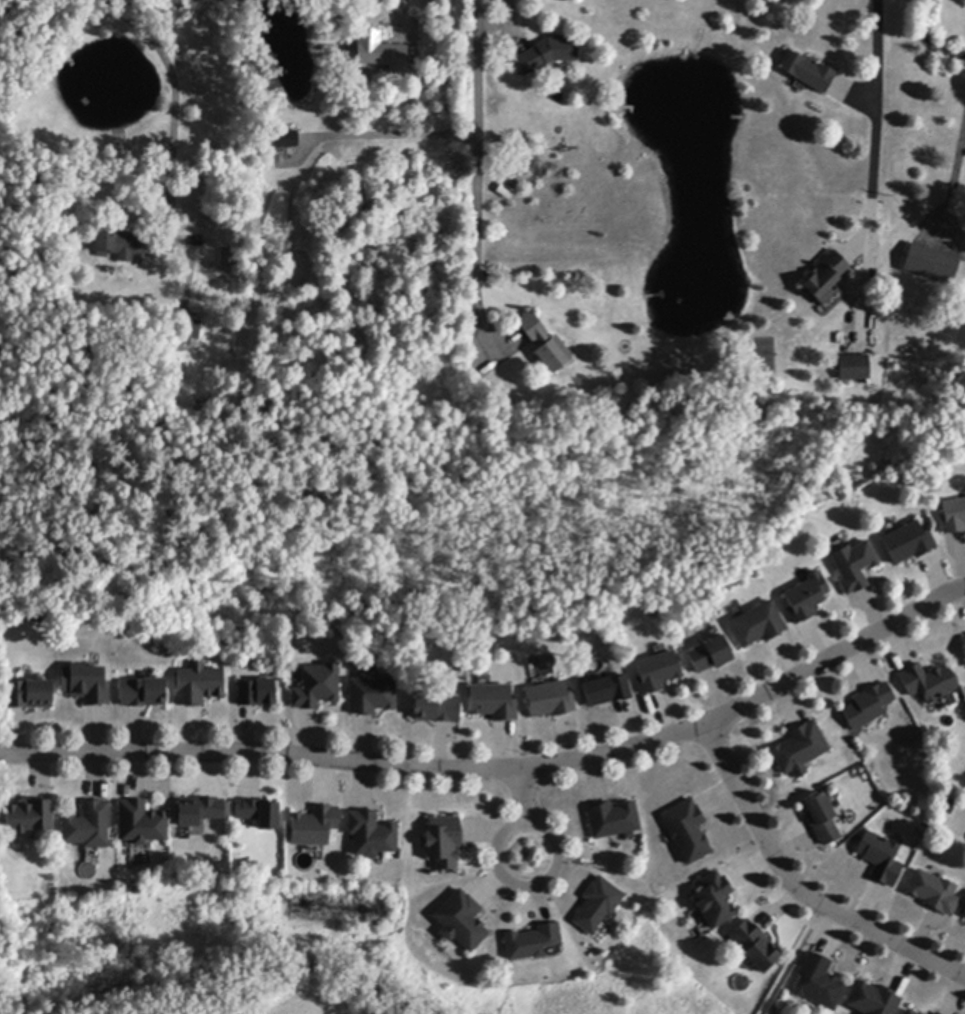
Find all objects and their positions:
road: (399, 10)
road: (507, 29)
building: (380, 52)
building: (547, 54)
building: (806, 72)
road: (173, 100)
road: (395, 135)
building: (286, 140)
road: (873, 148)
road: (477, 164)
road: (955, 175)
building: (124, 244)
building: (930, 265)
building: (825, 278)
building: (193, 330)
building: (545, 343)
building: (853, 368)
building: (953, 517)
building: (908, 544)
building: (853, 567)
building: (805, 599)
building: (757, 625)
building: (964, 640)
building: (709, 655)
building: (657, 672)
building: (928, 683)
building: (86, 685)
building: (199, 686)
building: (317, 687)
building: (606, 691)
building: (143, 693)
building: (256, 693)
building: (28, 694)
building: (371, 696)
building: (549, 700)
building: (493, 703)
building: (868, 707)
building: (437, 709)
building: (800, 750)
park: (403, 753)
road: (502, 769)
road: (523, 795)
building: (946, 806)
building: (199, 811)
building: (259, 813)
building: (27, 816)
building: (822, 818)
building: (612, 820)
building: (141, 823)
building: (88, 826)
building: (314, 827)
building: (686, 831)
building: (371, 834)
building: (443, 842)
road: (497, 854)
building: (881, 859)
crop: (0, 868)
road: (796, 889)
building: (934, 893)
building: (714, 901)
building: (597, 905)
building: (963, 915)
building: (461, 922)
building: (531, 943)
building: (754, 946)
park: (788, 962)
park: (1, 968)
building: (817, 983)
park: (315, 998)
building: (872, 1000)
building: (909, 1012)
building: (917, 1013)
building: (934, 1013)
building: (936, 1013)

